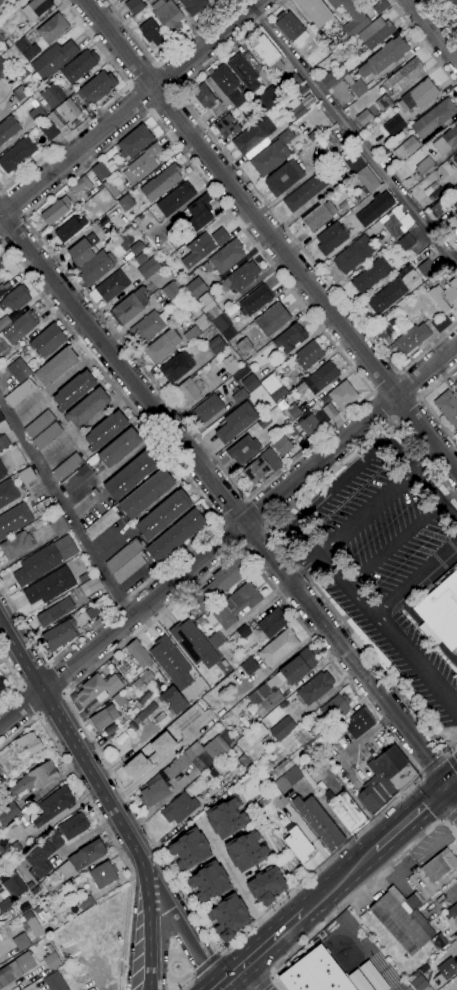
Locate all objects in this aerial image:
building: (19, 0)
building: (178, 0)
building: (212, 0)
building: (1, 1)
building: (452, 2)
building: (134, 6)
building: (193, 6)
building: (380, 7)
building: (36, 8)
building: (315, 11)
building: (167, 15)
road: (444, 15)
building: (351, 16)
building: (291, 28)
building: (52, 29)
road: (433, 30)
building: (151, 33)
building: (375, 33)
building: (1, 39)
road: (422, 43)
building: (7, 44)
building: (26, 49)
building: (267, 54)
building: (384, 57)
road: (162, 59)
building: (52, 60)
building: (79, 66)
building: (3, 67)
building: (243, 72)
building: (23, 74)
building: (406, 74)
road: (143, 75)
road: (166, 77)
building: (332, 78)
building: (224, 85)
building: (34, 86)
building: (355, 87)
building: (96, 88)
building: (19, 93)
building: (112, 93)
building: (52, 95)
building: (419, 95)
road: (138, 98)
building: (268, 98)
building: (207, 100)
road: (162, 102)
building: (383, 103)
road: (107, 105)
road: (129, 107)
building: (69, 109)
building: (36, 114)
building: (364, 118)
building: (433, 119)
building: (56, 120)
building: (392, 125)
building: (226, 126)
building: (8, 129)
building: (49, 130)
road: (354, 134)
building: (312, 135)
building: (253, 136)
building: (446, 139)
building: (134, 141)
building: (406, 148)
building: (17, 154)
building: (272, 154)
building: (456, 157)
building: (354, 163)
building: (142, 164)
building: (456, 168)
building: (103, 169)
building: (423, 169)
building: (284, 177)
building: (366, 180)
building: (161, 182)
building: (79, 185)
building: (456, 185)
road: (1, 190)
building: (427, 191)
building: (306, 192)
building: (175, 199)
building: (451, 200)
building: (357, 201)
building: (126, 202)
road: (13, 204)
road: (266, 204)
building: (373, 208)
building: (437, 209)
building: (55, 210)
building: (200, 211)
building: (316, 218)
building: (396, 221)
building: (102, 222)
road: (11, 226)
building: (70, 228)
building: (117, 233)
building: (380, 236)
building: (219, 237)
road: (270, 237)
building: (331, 238)
building: (405, 242)
building: (136, 247)
building: (148, 247)
building: (82, 250)
building: (198, 250)
building: (354, 255)
building: (226, 256)
building: (0, 260)
building: (146, 265)
building: (0, 266)
building: (96, 267)
building: (426, 268)
building: (370, 275)
building: (240, 277)
building: (112, 285)
building: (196, 287)
building: (4, 288)
building: (171, 292)
building: (386, 296)
building: (445, 296)
building: (255, 300)
building: (13, 303)
building: (129, 307)
building: (209, 307)
building: (272, 319)
building: (202, 322)
building: (20, 327)
building: (149, 327)
building: (224, 327)
building: (290, 337)
building: (412, 338)
building: (48, 340)
building: (216, 345)
building: (162, 346)
building: (244, 347)
building: (308, 354)
building: (230, 365)
building: (176, 366)
building: (55, 367)
building: (19, 370)
building: (244, 370)
building: (237, 376)
building: (317, 380)
road: (384, 381)
building: (250, 382)
building: (456, 383)
road: (408, 384)
building: (273, 387)
building: (189, 389)
building: (73, 390)
building: (19, 393)
building: (239, 395)
building: (343, 395)
road: (422, 402)
road: (382, 406)
building: (87, 407)
building: (448, 408)
building: (207, 409)
road: (406, 409)
building: (289, 410)
building: (329, 410)
building: (319, 414)
building: (1, 417)
building: (235, 422)
building: (263, 422)
building: (39, 423)
building: (309, 425)
building: (105, 430)
building: (46, 436)
building: (3, 442)
building: (282, 446)
building: (118, 447)
building: (243, 449)
road: (425, 459)
building: (262, 465)
building: (67, 466)
building: (2, 472)
building: (131, 474)
building: (26, 475)
building: (77, 477)
road: (341, 481)
building: (95, 492)
building: (7, 493)
building: (146, 493)
road: (435, 494)
road: (245, 497)
road: (224, 499)
building: (43, 505)
road: (207, 505)
road: (232, 509)
road: (64, 510)
road: (255, 511)
road: (366, 511)
building: (163, 514)
building: (14, 519)
building: (101, 523)
building: (58, 524)
road: (227, 534)
road: (229, 534)
building: (175, 535)
road: (257, 539)
road: (278, 540)
road: (394, 542)
building: (16, 545)
parking lot: (382, 558)
building: (126, 560)
building: (37, 565)
road: (302, 565)
road: (333, 568)
road: (416, 582)
building: (218, 584)
building: (49, 585)
building: (90, 585)
building: (231, 611)
building: (55, 612)
building: (91, 612)
building: (440, 613)
building: (199, 620)
building: (272, 622)
road: (426, 629)
building: (243, 631)
building: (59, 634)
building: (193, 643)
building: (278, 647)
road: (402, 647)
building: (138, 655)
building: (170, 662)
building: (249, 666)
building: (142, 679)
road: (16, 680)
building: (281, 681)
building: (2, 685)
building: (98, 687)
building: (314, 688)
building: (118, 699)
building: (173, 700)
building: (107, 703)
building: (283, 704)
building: (335, 708)
building: (103, 717)
building: (159, 717)
building: (186, 717)
building: (137, 721)
building: (358, 723)
building: (282, 728)
building: (111, 729)
building: (235, 736)
road: (362, 736)
road: (73, 739)
building: (267, 741)
building: (28, 742)
building: (212, 750)
building: (301, 750)
building: (149, 755)
road: (444, 755)
road: (447, 756)
building: (268, 759)
building: (243, 760)
building: (179, 762)
road: (432, 764)
road: (452, 764)
building: (0, 768)
road: (421, 774)
building: (1, 775)
building: (207, 775)
building: (34, 778)
building: (288, 779)
building: (385, 779)
road: (451, 781)
traffic signals: (445, 787)
road: (403, 790)
building: (154, 792)
road: (451, 795)
building: (276, 796)
road: (166, 797)
building: (53, 805)
building: (179, 808)
building: (345, 811)
building: (8, 813)
building: (225, 816)
road: (452, 816)
road: (409, 818)
building: (319, 822)
road: (446, 822)
road: (102, 823)
building: (298, 843)
building: (54, 844)
building: (187, 849)
building: (15, 850)
building: (245, 850)
building: (82, 858)
building: (439, 865)
building: (103, 874)
road: (236, 879)
road: (339, 880)
building: (207, 882)
building: (13, 884)
building: (266, 886)
building: (35, 890)
road: (354, 896)
building: (86, 902)
building: (5, 904)
building: (452, 912)
building: (227, 916)
building: (402, 919)
building: (45, 922)
road: (183, 926)
road: (148, 927)
road: (274, 938)
building: (440, 940)
building: (21, 941)
building: (51, 960)
road: (205, 964)
building: (16, 968)
building: (446, 968)
building: (314, 973)
road: (232, 976)
building: (372, 976)
road: (252, 977)
building: (358, 980)
building: (55, 981)
road: (188, 983)
building: (420, 983)
road: (264, 984)
road: (218, 988)
park: (394, 988)
building: (456, 988)

